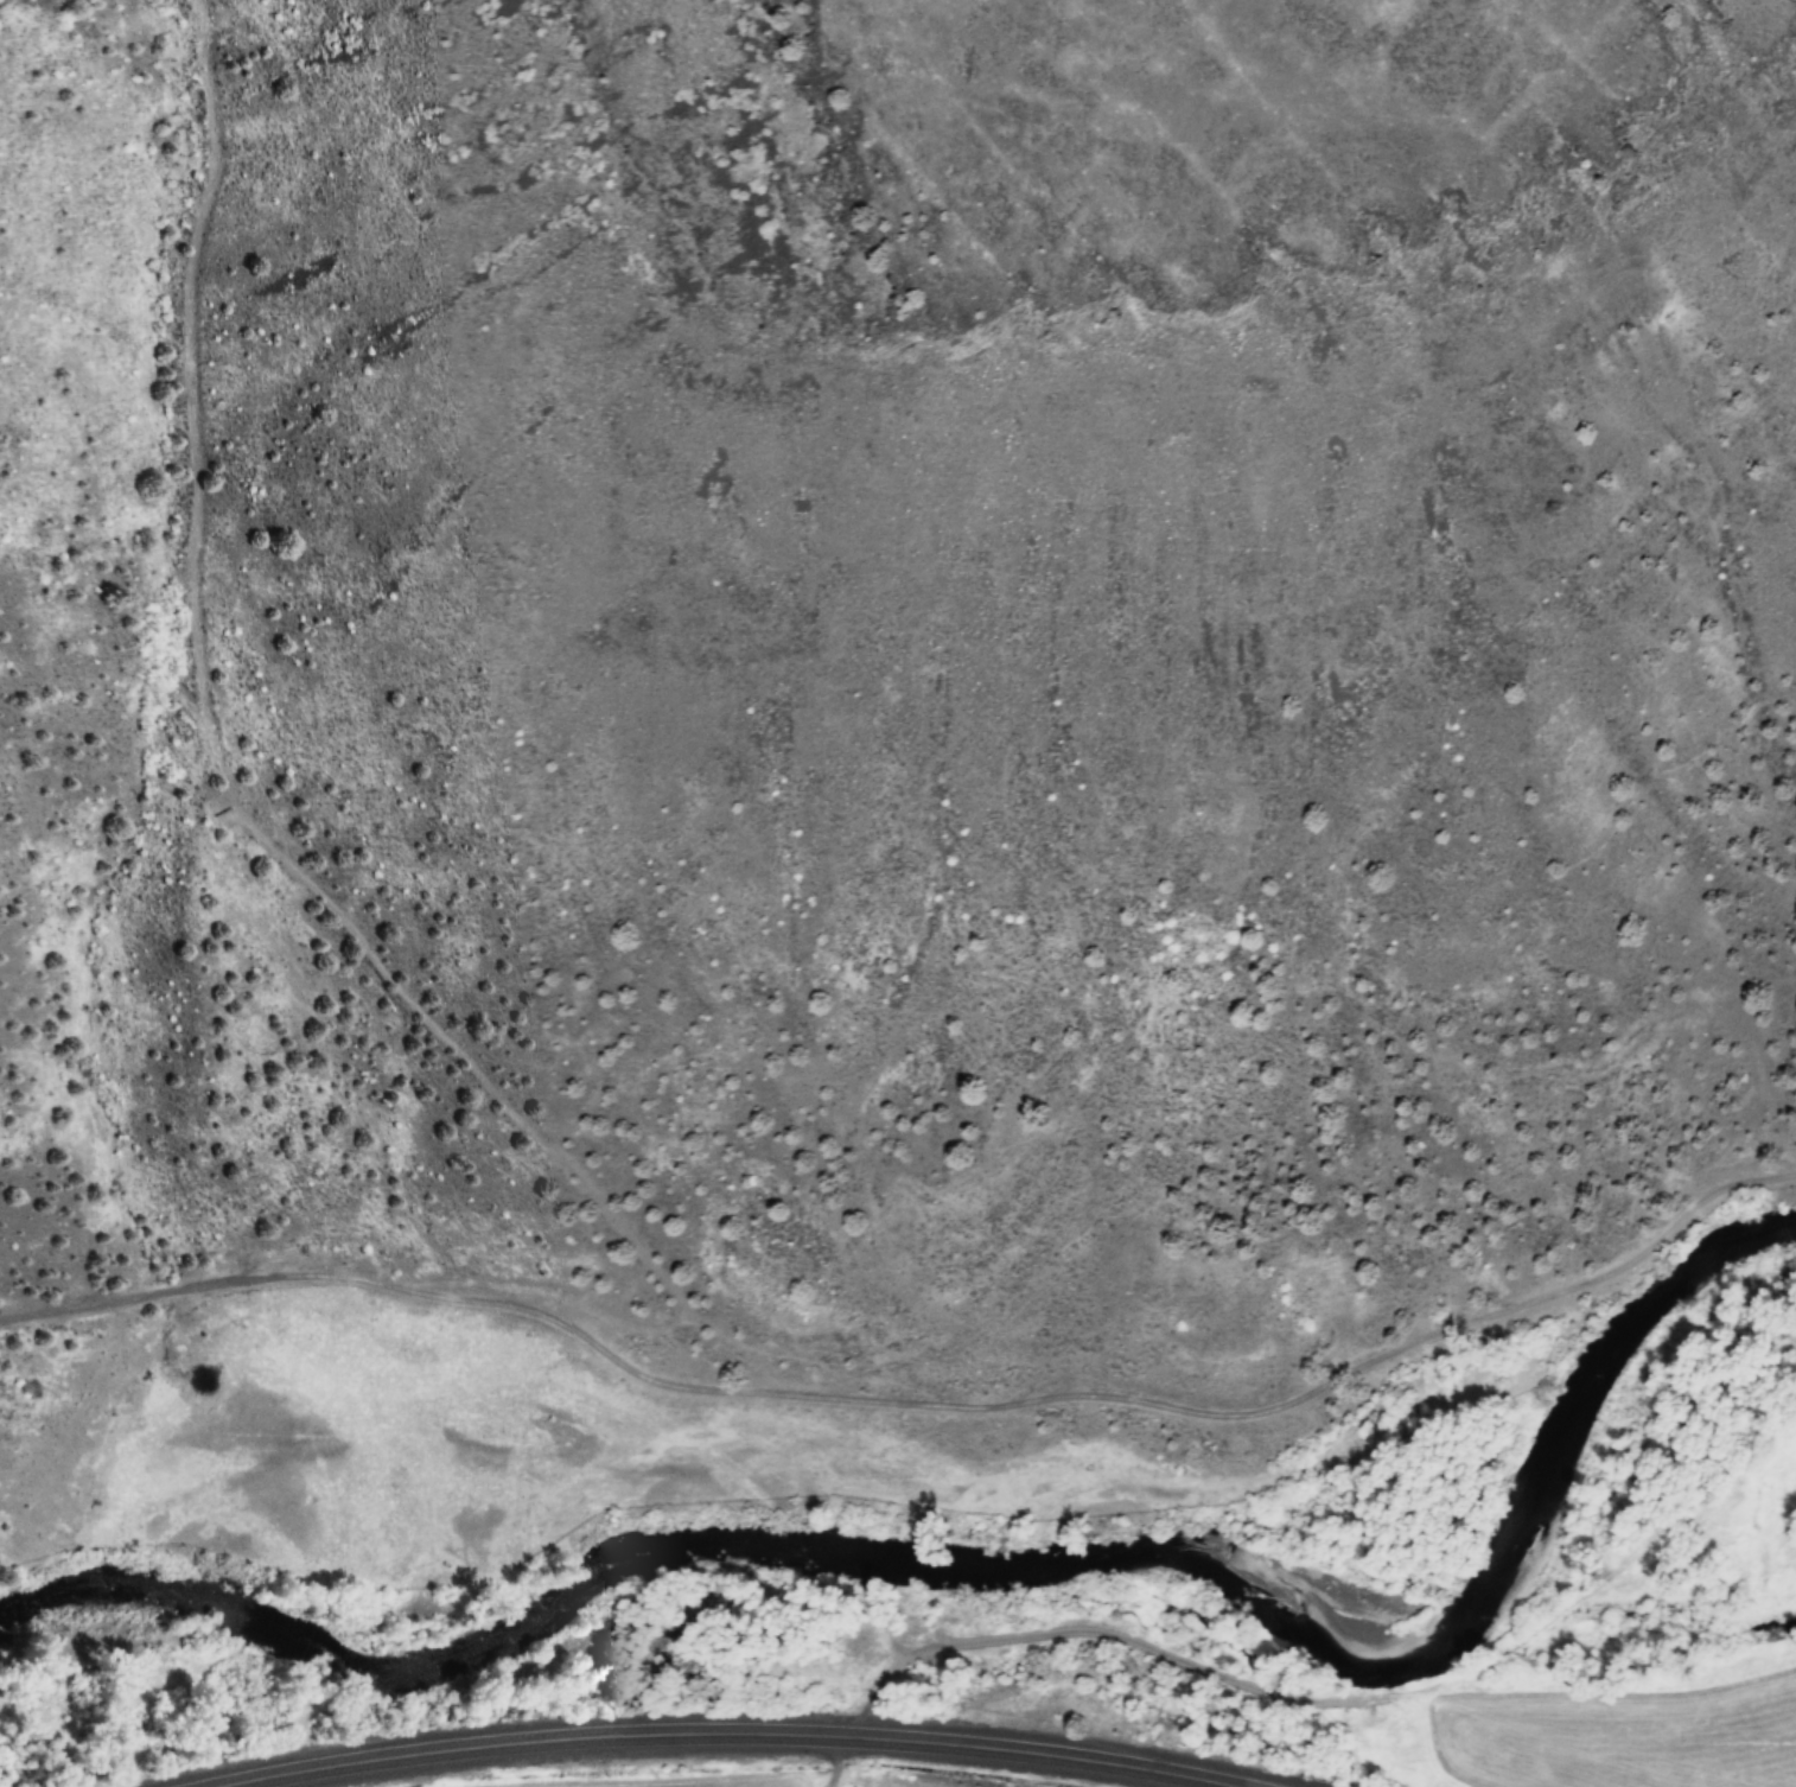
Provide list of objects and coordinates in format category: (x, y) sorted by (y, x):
river: (988, 1569)
road: (737, 1735)

